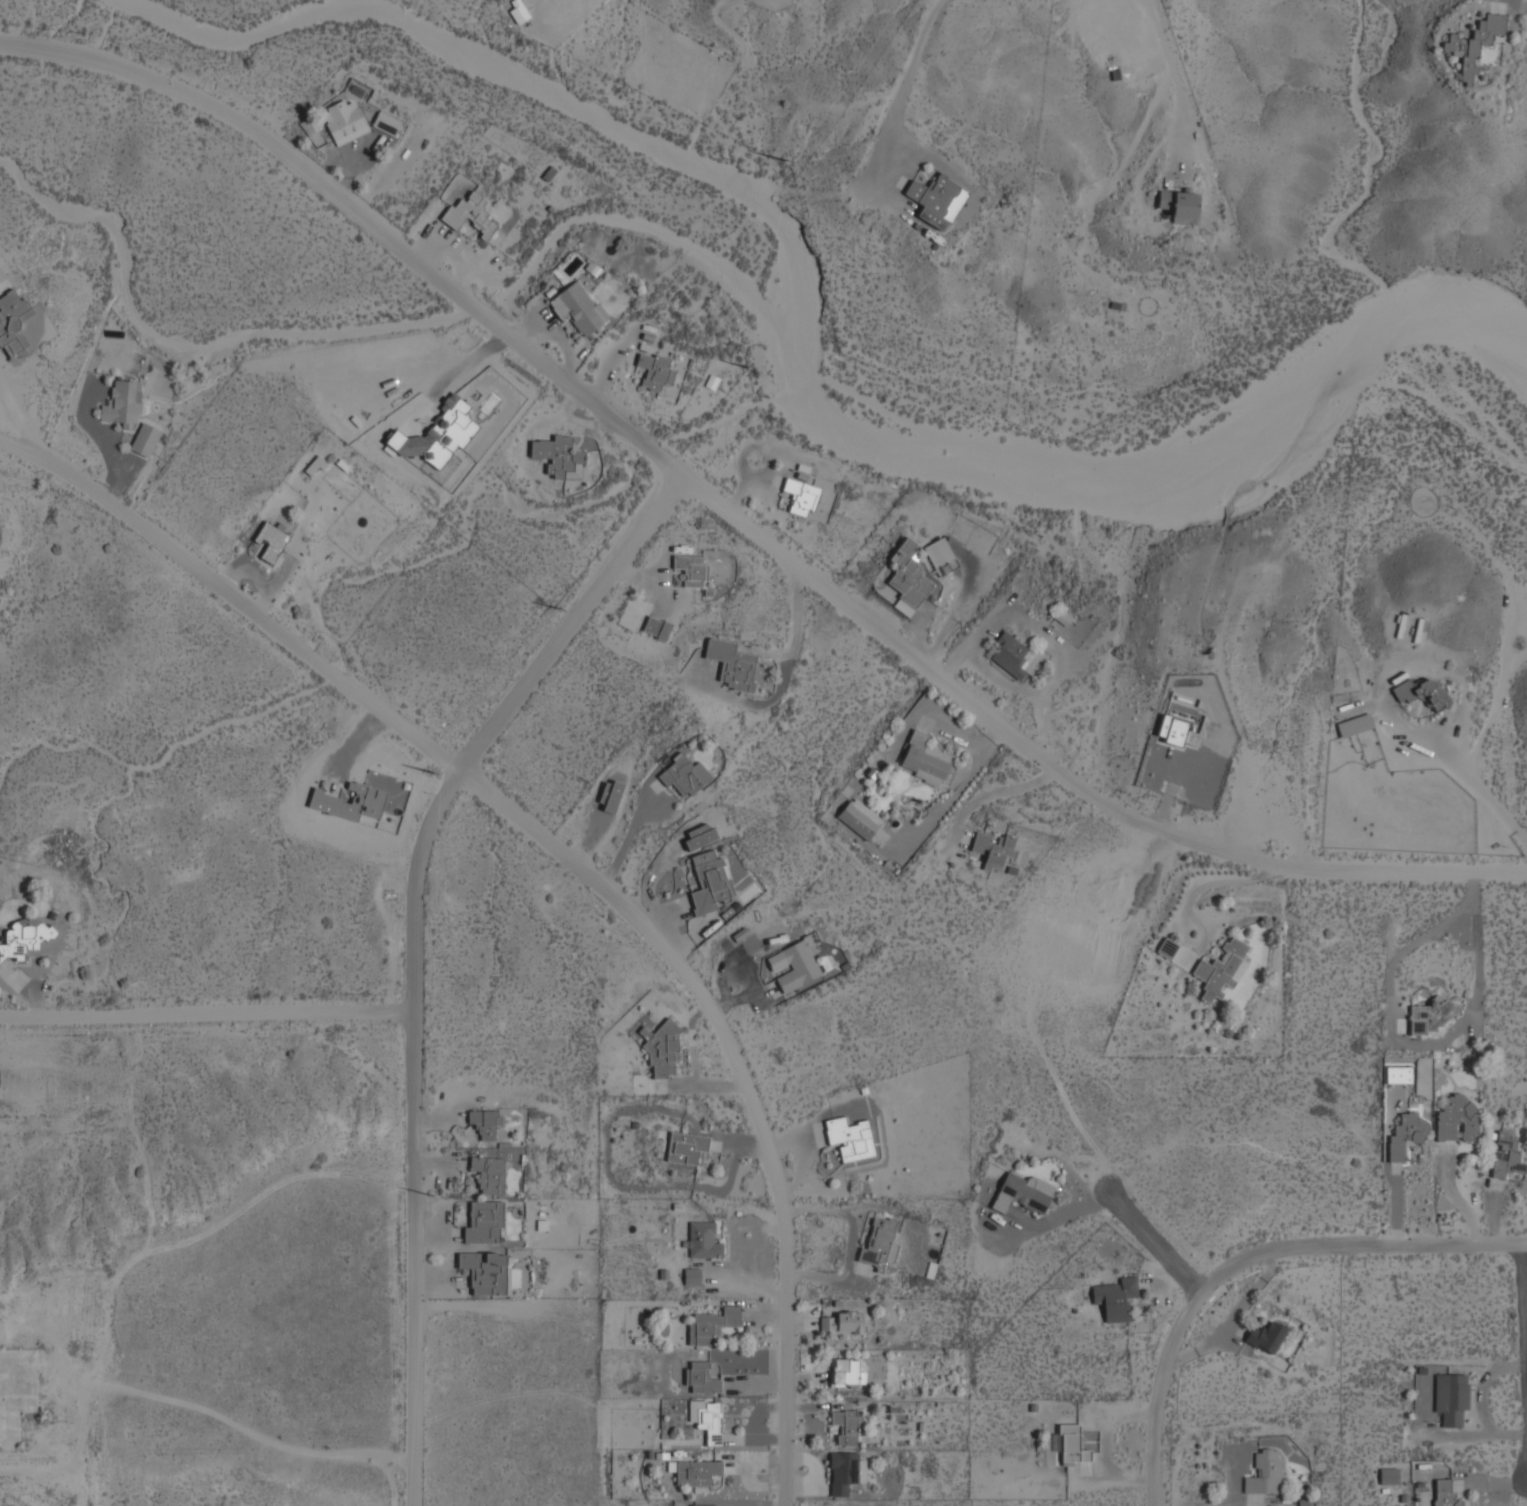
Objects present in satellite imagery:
building: (519, 11)
building: (1474, 45)
road: (904, 84)
building: (343, 120)
building: (386, 123)
power tower: (782, 161)
building: (937, 200)
building: (1180, 205)
building: (470, 214)
building: (578, 306)
building: (13, 323)
power tower: (744, 365)
building: (654, 370)
building: (129, 415)
building: (438, 436)
building: (557, 454)
building: (314, 465)
building: (801, 496)
road: (739, 521)
building: (271, 542)
building: (940, 556)
building: (692, 569)
building: (908, 579)
power tower: (557, 607)
building: (656, 627)
building: (1011, 655)
building: (732, 663)
building: (1421, 691)
building: (1180, 721)
building: (1354, 724)
building: (924, 760)
power tower: (428, 769)
building: (682, 775)
building: (612, 796)
building: (860, 819)
building: (699, 836)
building: (993, 849)
road: (577, 858)
building: (711, 882)
building: (24, 937)
building: (1167, 947)
road: (414, 948)
building: (795, 965)
building: (1222, 969)
road: (207, 1008)
building: (1431, 1015)
road: (1395, 1039)
building: (662, 1049)
building: (1399, 1074)
building: (1457, 1119)
building: (485, 1123)
building: (1406, 1134)
building: (849, 1137)
building: (687, 1148)
building: (1506, 1155)
building: (488, 1173)
building: (1022, 1193)
power tower: (431, 1197)
building: (485, 1222)
building: (703, 1240)
building: (880, 1243)
road: (1248, 1260)
building: (484, 1271)
building: (692, 1275)
building: (1116, 1297)
building: (842, 1322)
building: (712, 1324)
building: (1266, 1337)
building: (849, 1372)
building: (701, 1378)
building: (17, 1390)
building: (1451, 1399)
building: (710, 1422)
building: (846, 1425)
building: (1072, 1445)
building: (845, 1471)
building: (697, 1472)
building: (1264, 1474)
building: (1388, 1476)
building: (1444, 1493)
building: (707, 1505)

